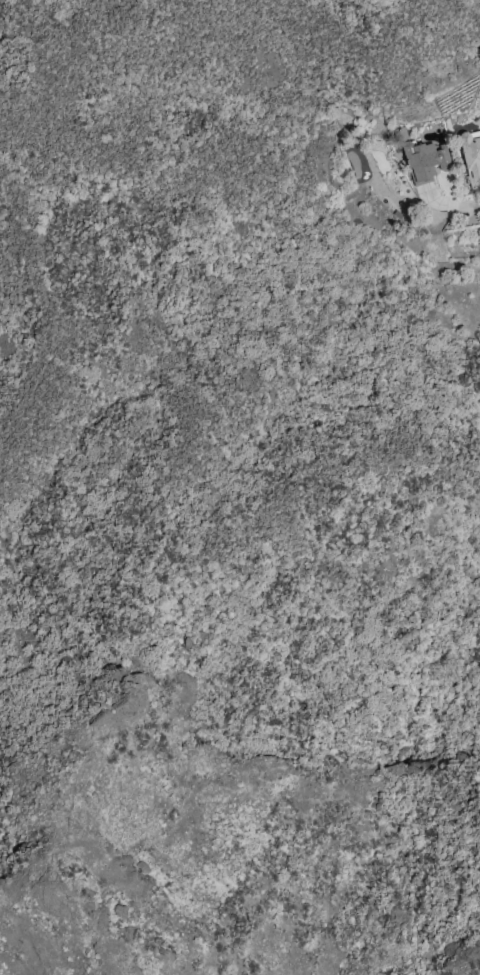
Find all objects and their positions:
building: (471, 156)
building: (425, 160)
road: (473, 210)
building: (398, 214)

